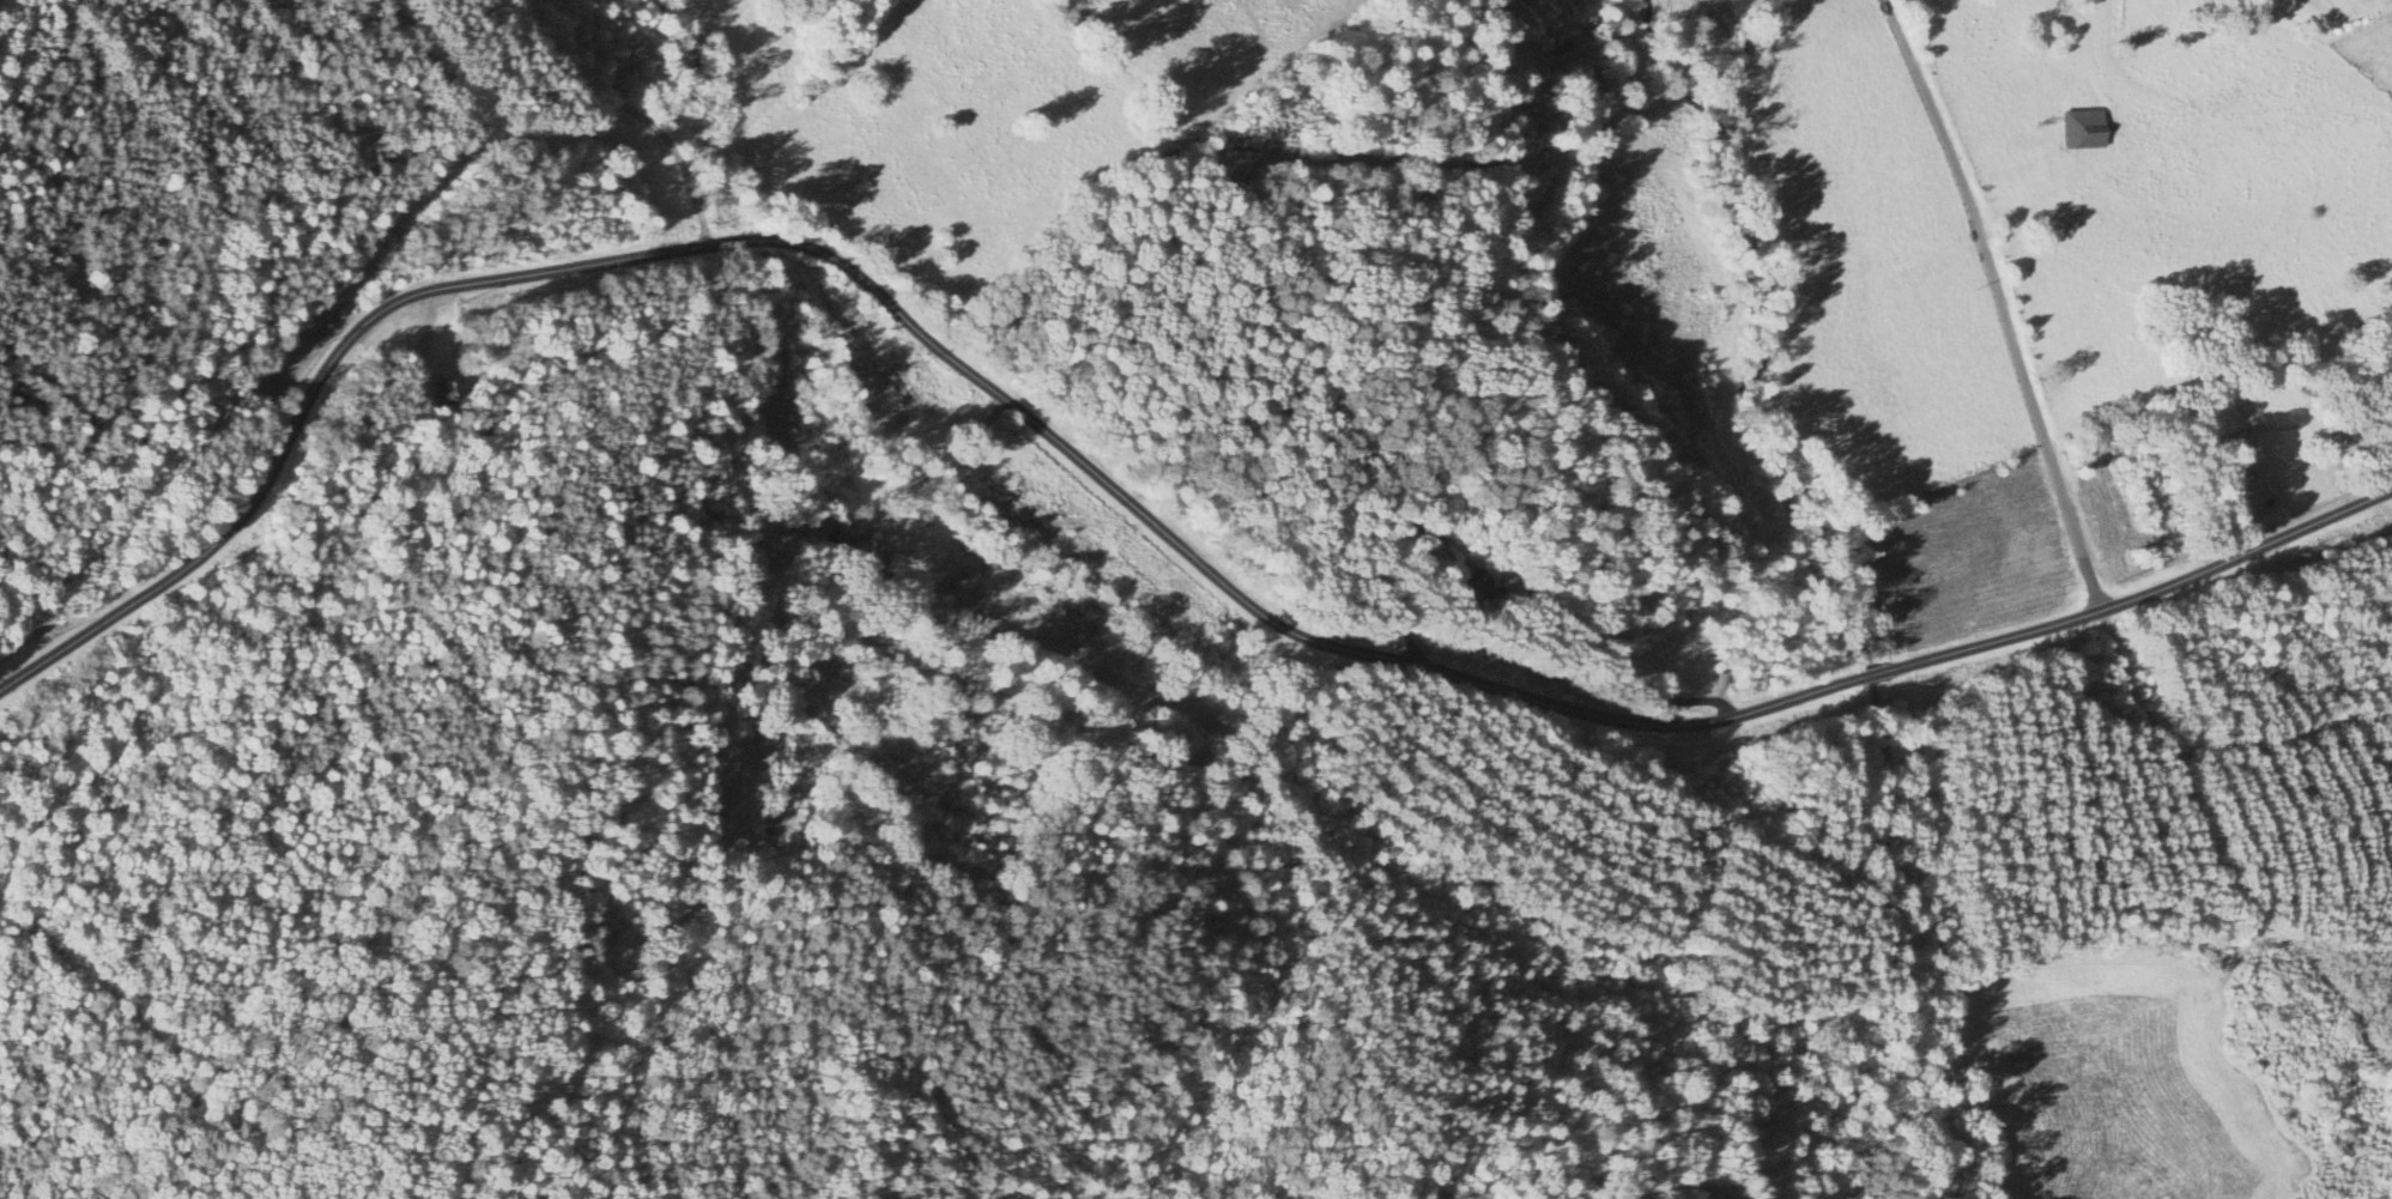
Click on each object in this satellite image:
road: (640, 114)
building: (2084, 131)
road: (1997, 301)
road: (1466, 351)
road: (969, 436)
building: (2261, 467)
road: (926, 477)
road: (1115, 492)
road: (888, 513)
building: (873, 558)
building: (1473, 589)
building: (780, 811)

